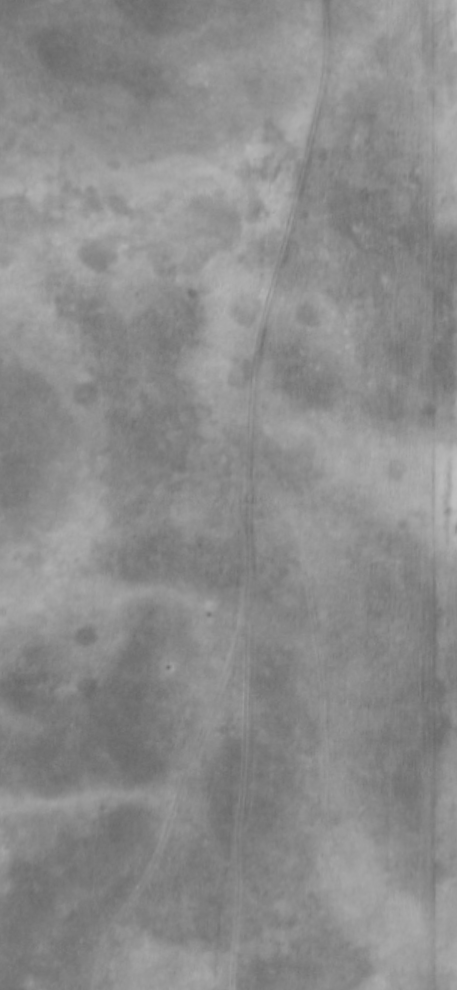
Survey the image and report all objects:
road: (251, 492)

